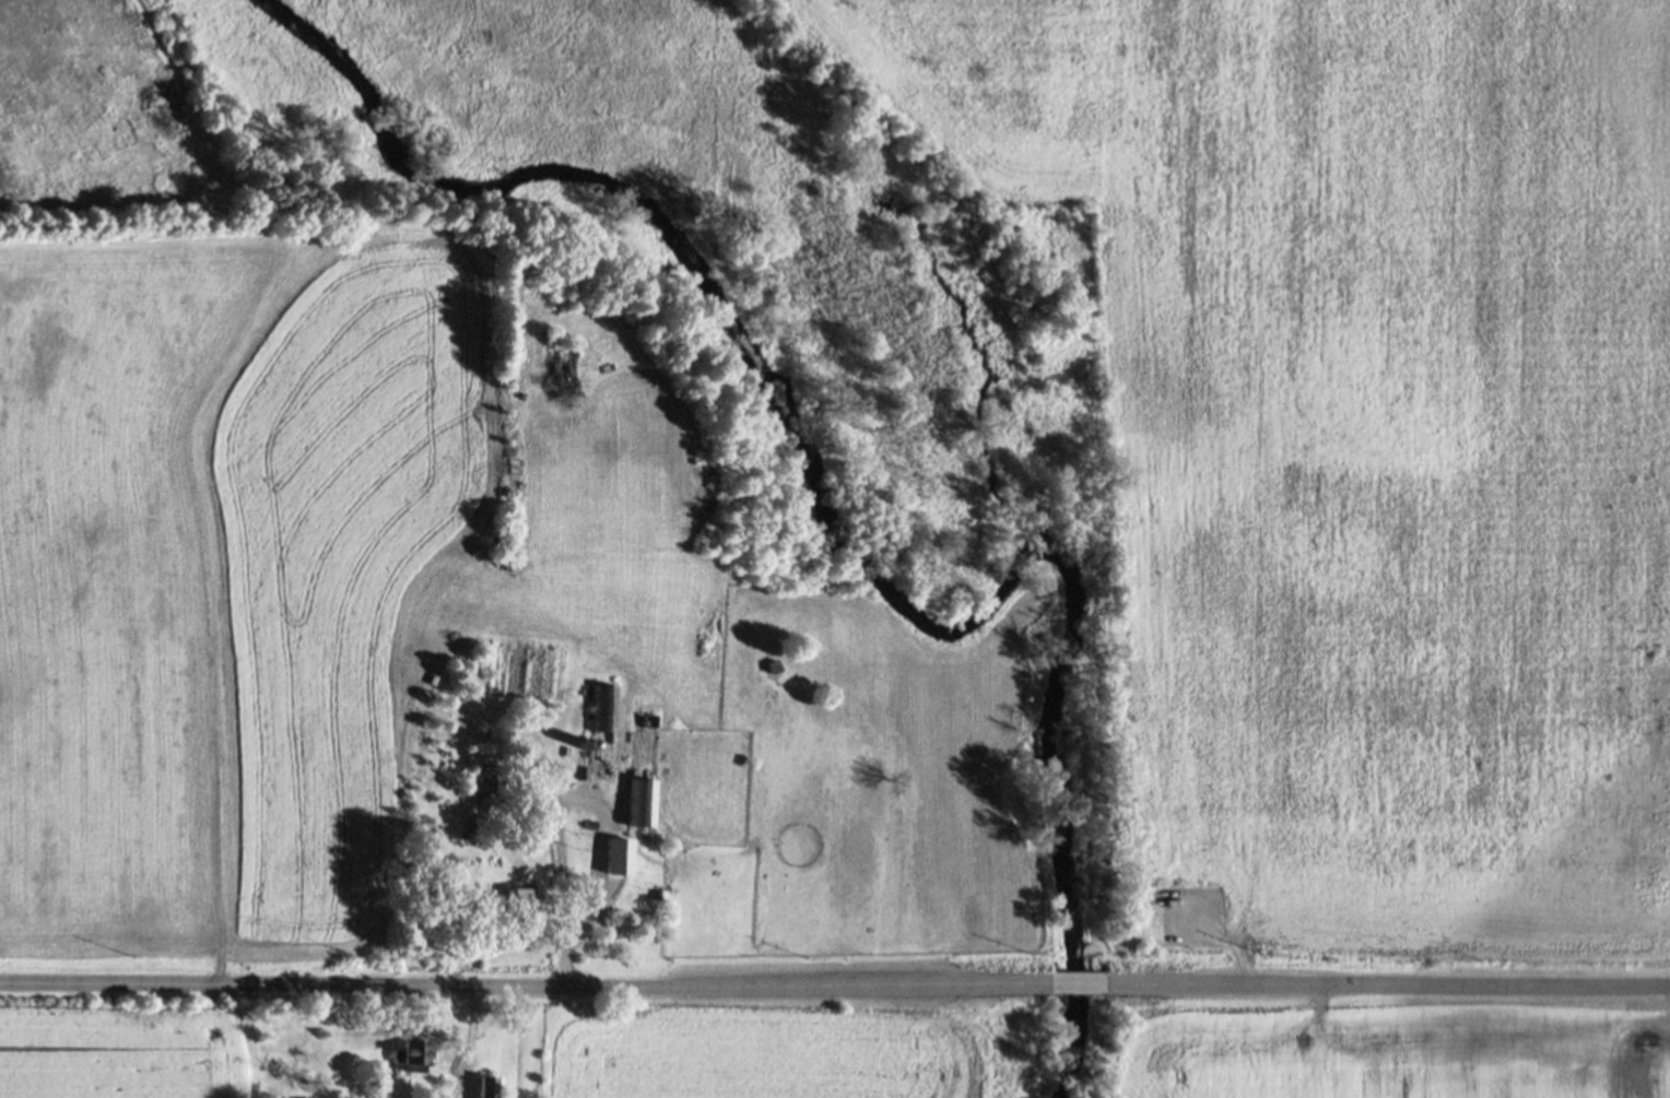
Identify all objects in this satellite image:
river: (807, 527)
building: (772, 665)
building: (603, 709)
building: (648, 721)
building: (580, 774)
building: (501, 784)
building: (640, 805)
building: (588, 825)
building: (467, 837)
building: (620, 854)
building: (518, 899)
road: (576, 919)
road: (1083, 984)
road: (1385, 984)
road: (532, 988)
road: (466, 1042)
building: (409, 1055)
crop: (1397, 1056)
building: (482, 1087)

